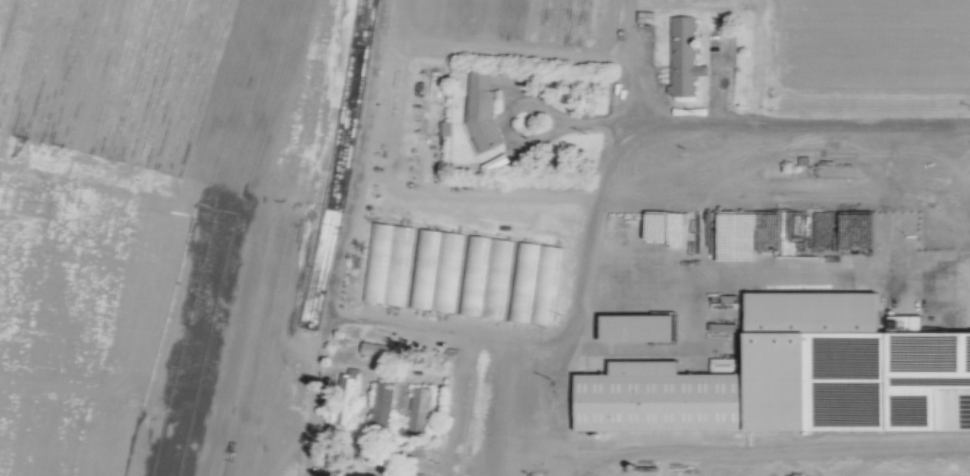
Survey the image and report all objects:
building: (684, 58)
road: (619, 63)
road: (718, 87)
road: (643, 89)
building: (482, 112)
road: (577, 123)
road: (617, 151)
building: (387, 264)
building: (435, 271)
building: (535, 284)
road: (359, 320)
building: (638, 326)
building: (377, 350)
building: (783, 373)
building: (346, 400)
building: (382, 405)
building: (419, 410)
road: (735, 447)

